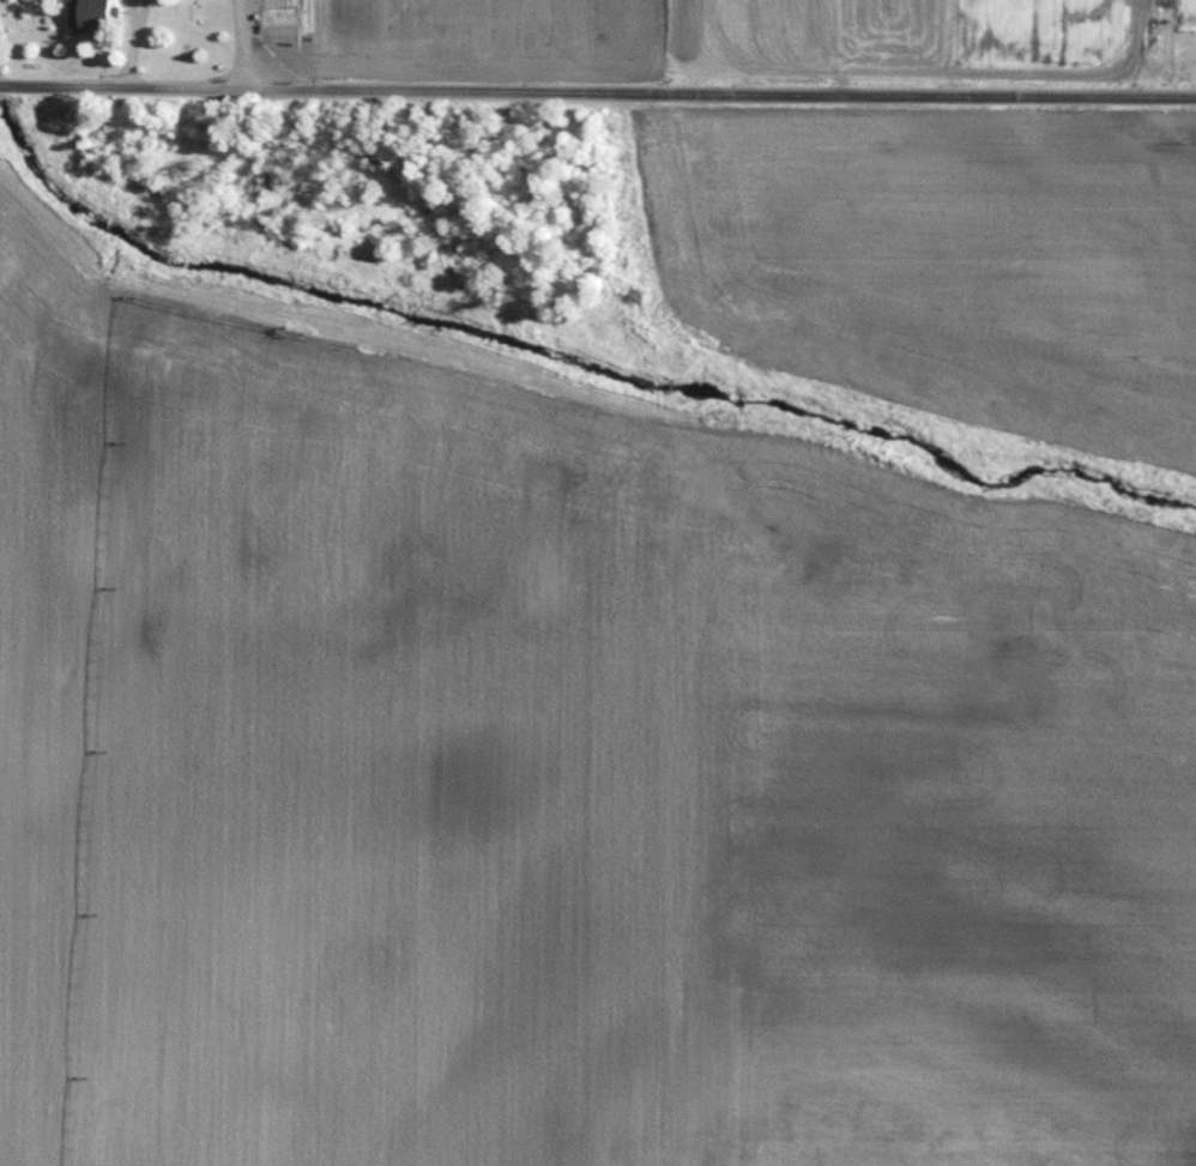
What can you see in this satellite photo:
building: (83, 16)
road: (129, 41)
road: (234, 43)
road: (597, 89)

